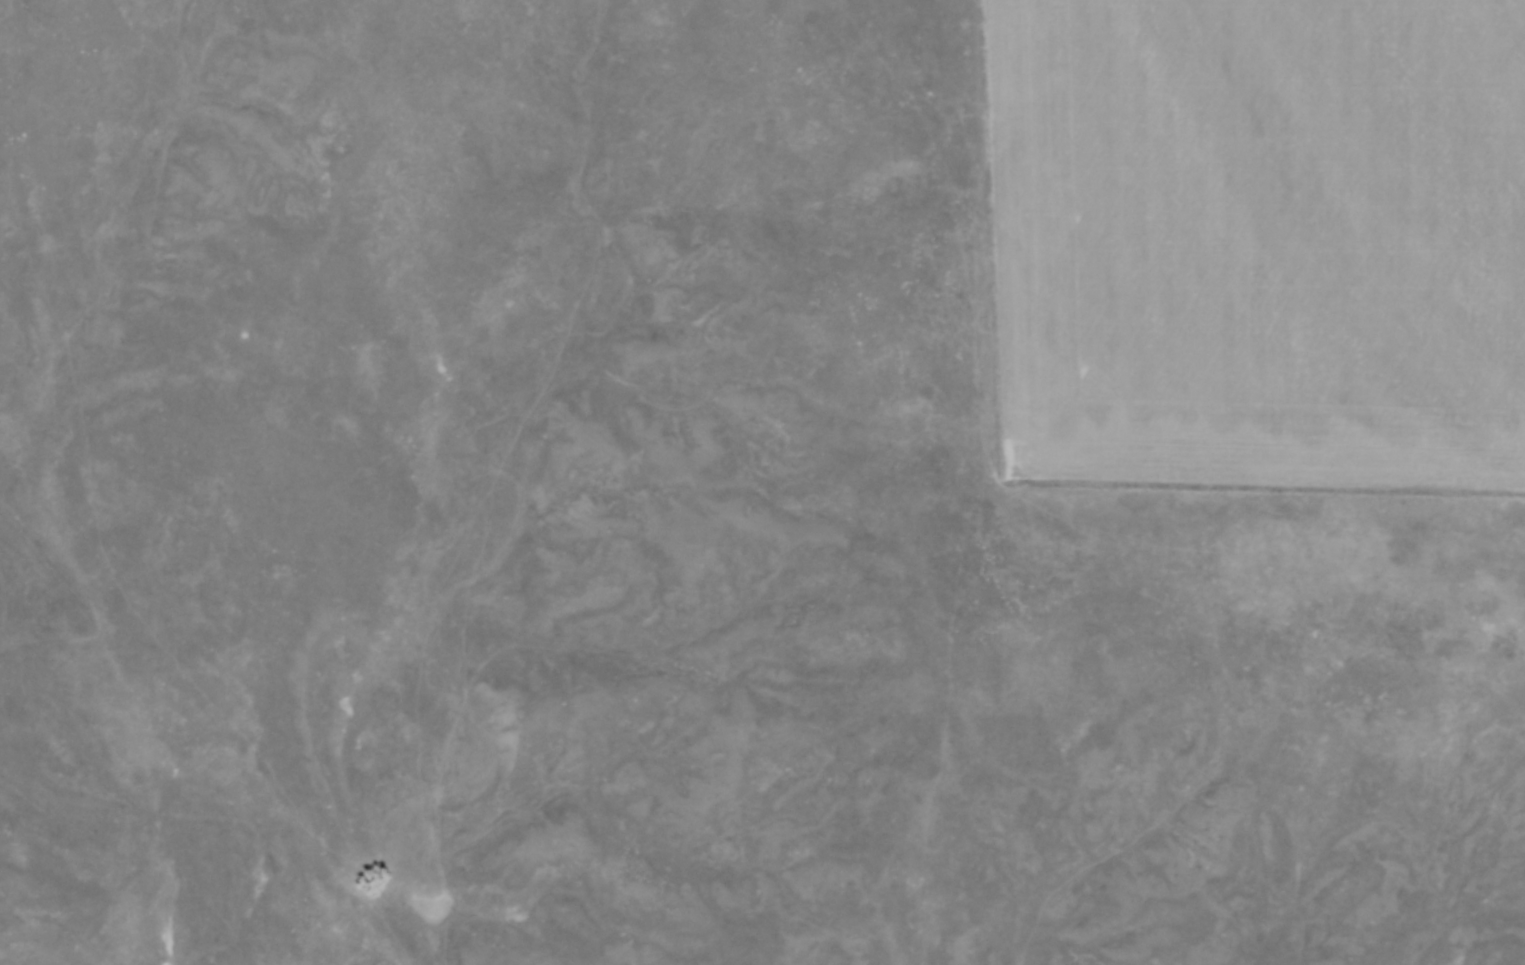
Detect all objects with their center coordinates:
crop: (1258, 243)

